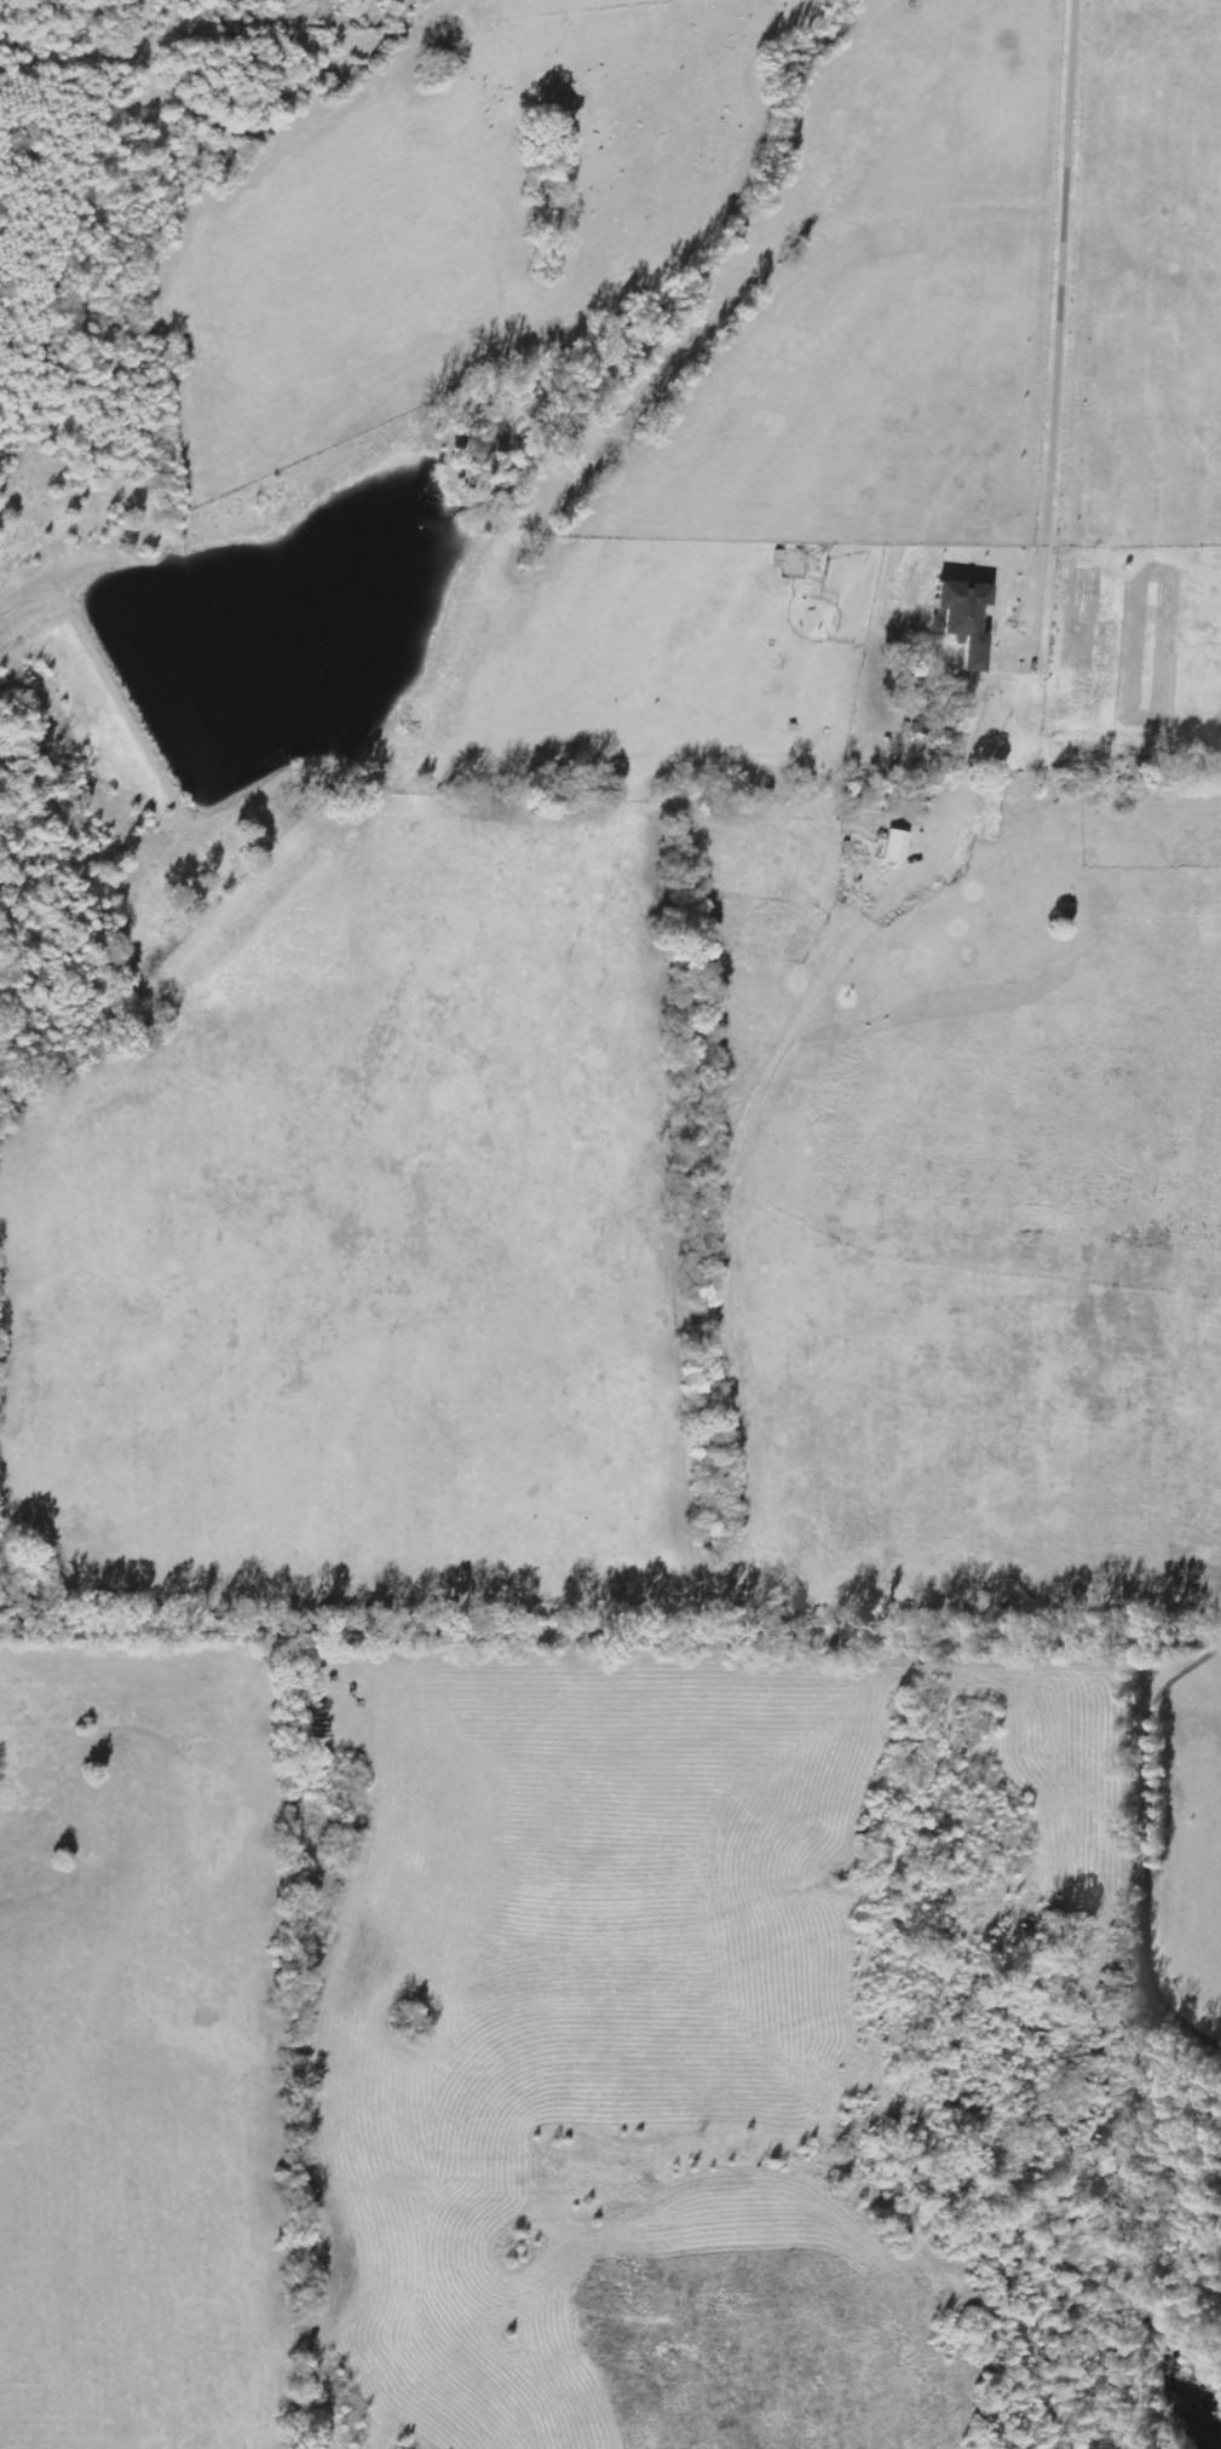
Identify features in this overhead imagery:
road: (1056, 328)
building: (962, 618)
building: (895, 845)

